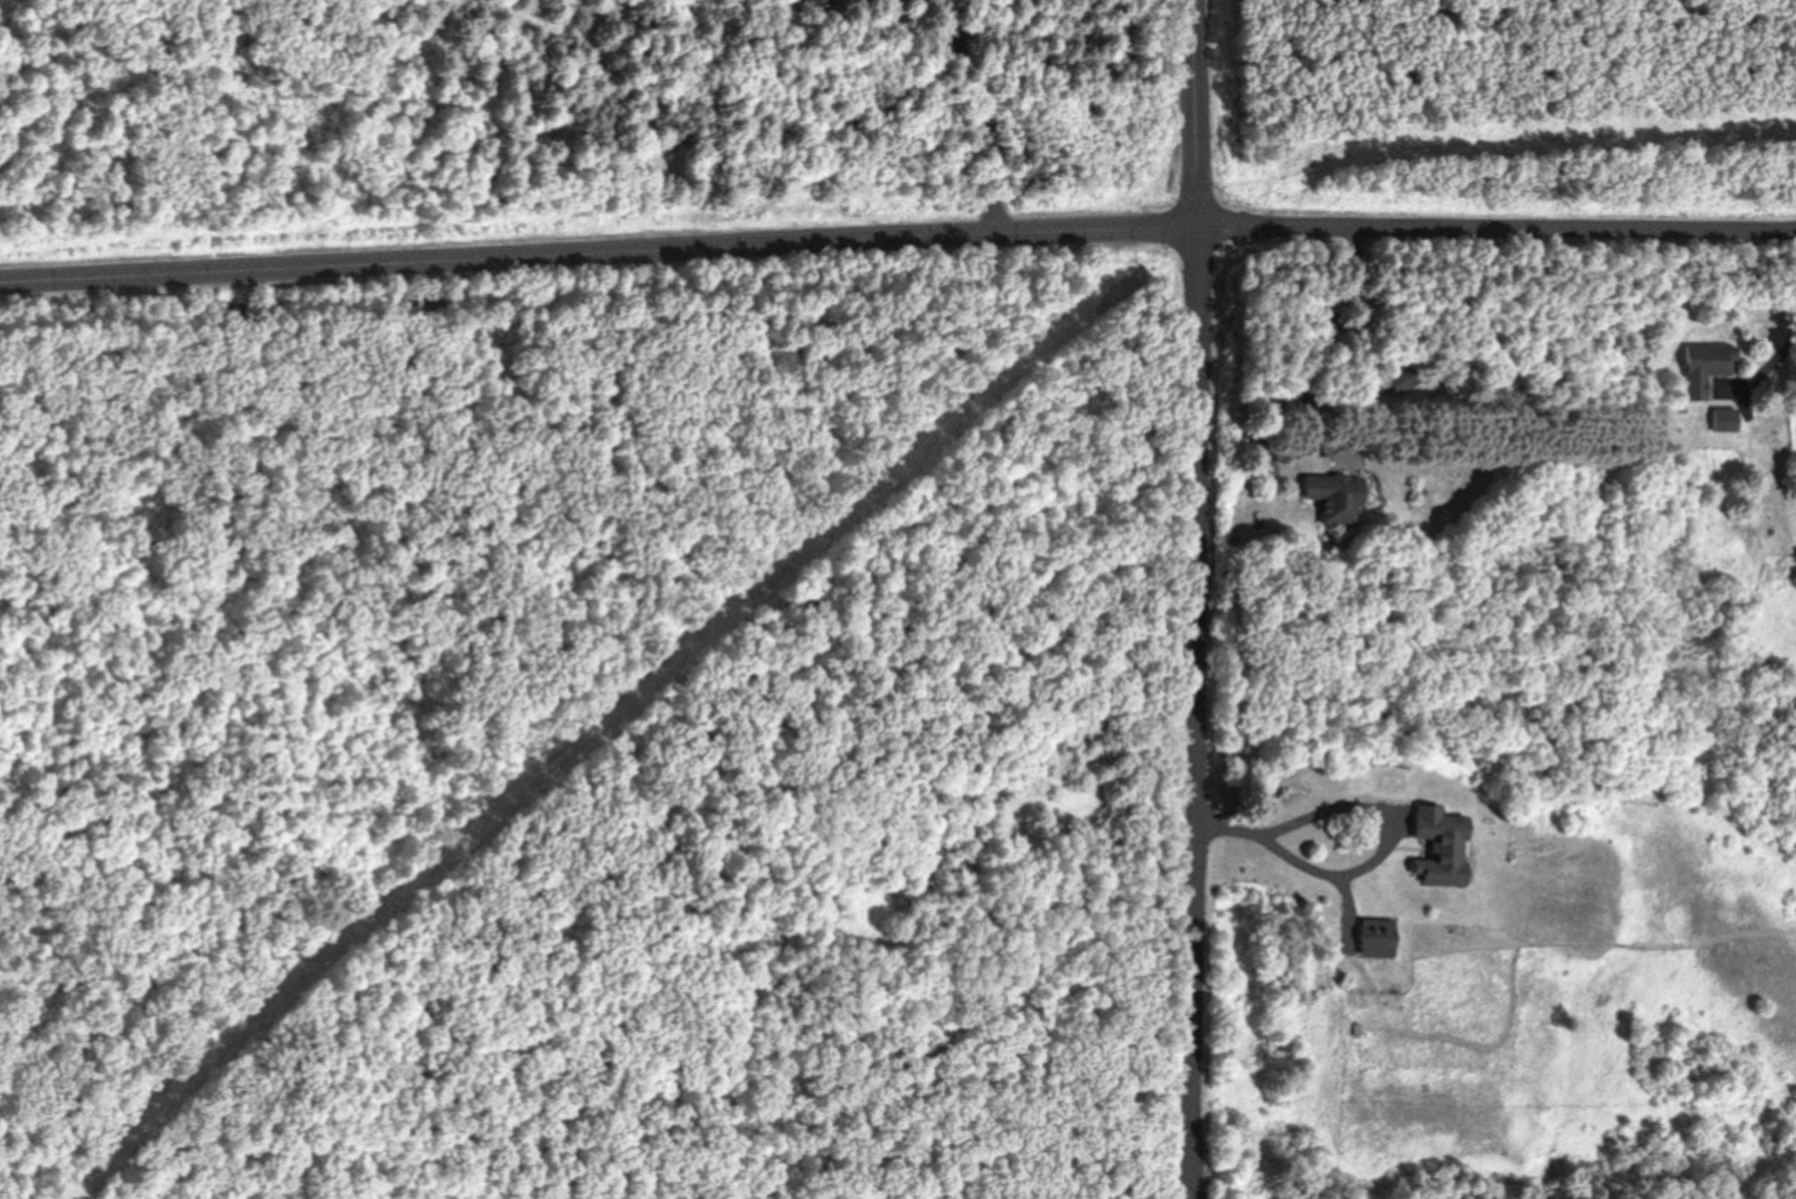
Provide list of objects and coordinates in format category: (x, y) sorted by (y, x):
building: (815, 2)
road: (897, 237)
building: (1703, 365)
building: (1327, 504)
road: (1197, 599)
road: (1373, 810)
building: (1434, 845)
building: (1367, 938)

